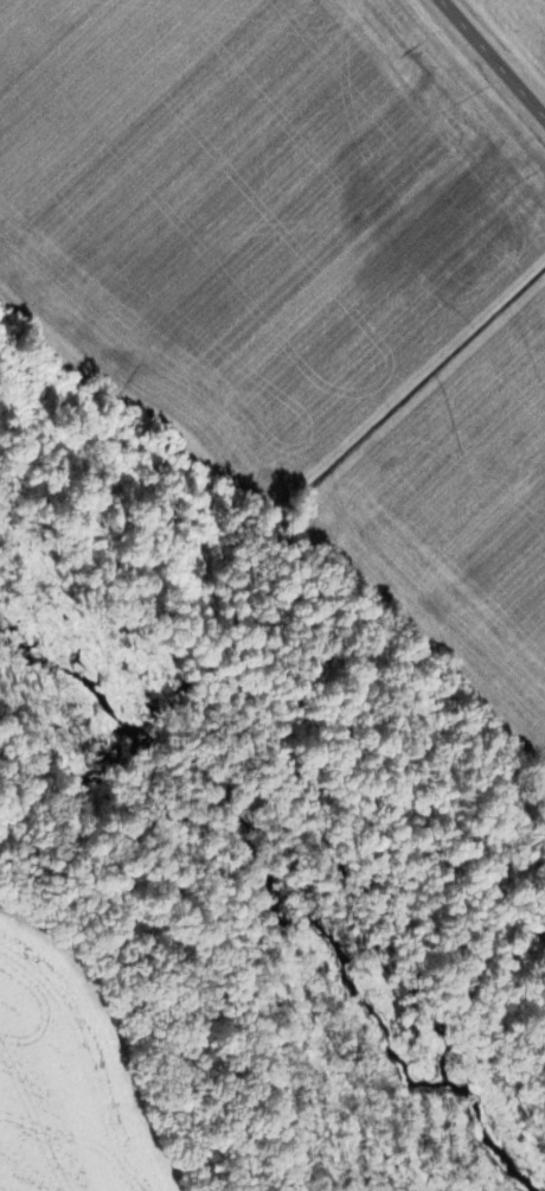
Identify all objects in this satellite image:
road: (492, 59)

